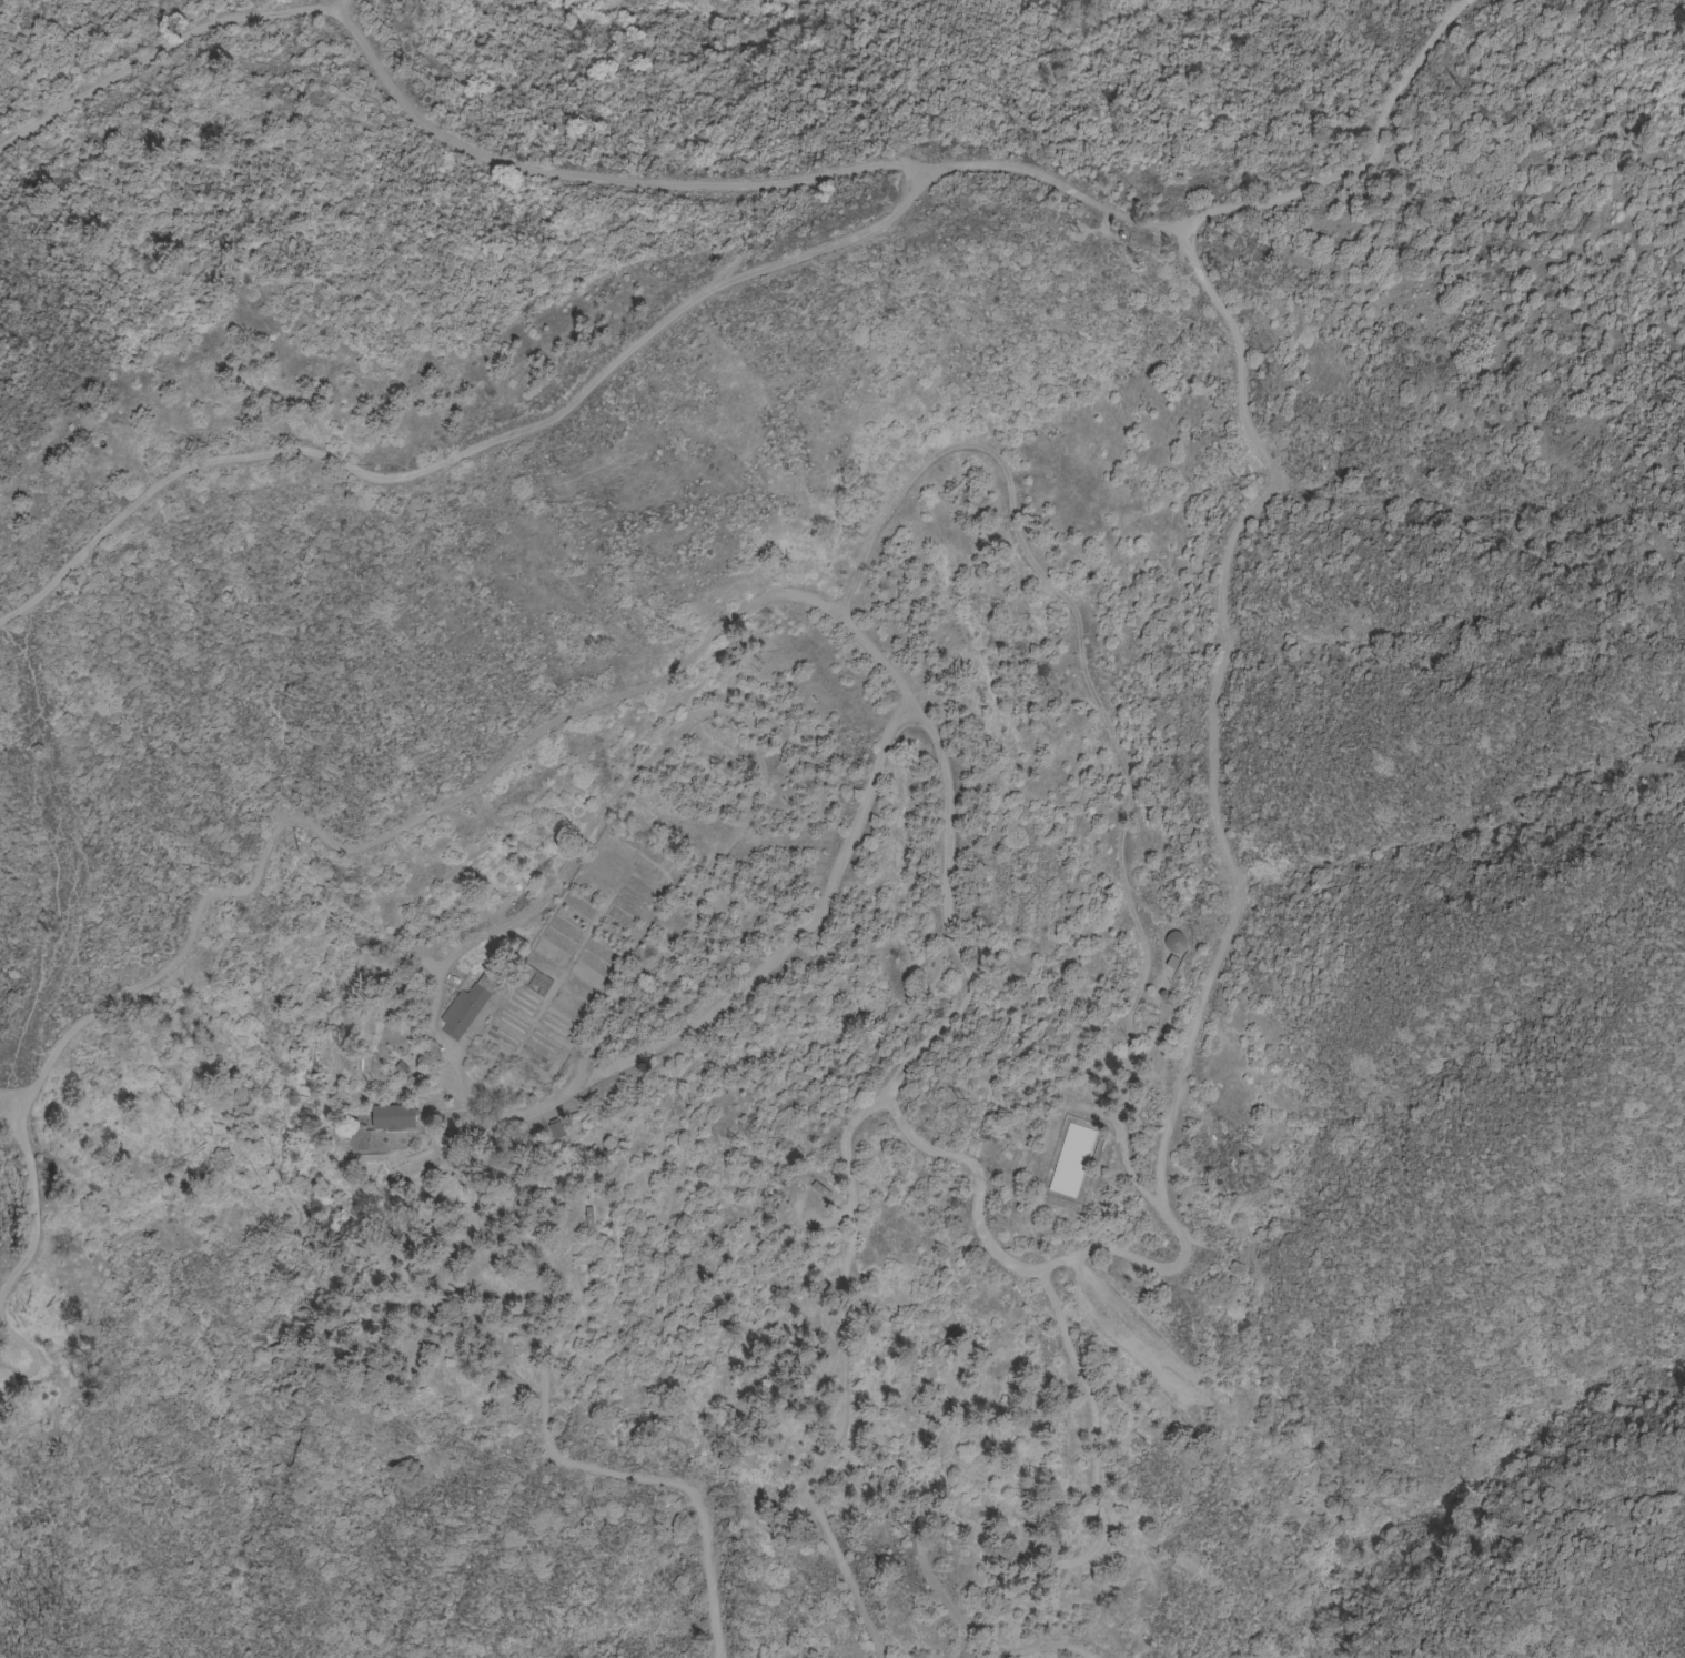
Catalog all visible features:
road: (340, 4)
road: (564, 67)
road: (422, 127)
road: (1062, 192)
building: (1140, 238)
road: (484, 448)
road: (1102, 711)
road: (350, 848)
road: (389, 931)
road: (262, 942)
building: (1173, 942)
building: (470, 1003)
building: (393, 1117)
building: (555, 1129)
building: (517, 1139)
building: (357, 1140)
road: (961, 1160)
building: (1071, 1160)
road: (1372, 1194)
building: (587, 1219)
road: (678, 1307)
road: (33, 1361)
road: (846, 1380)
road: (31, 1409)
road: (1036, 1561)

